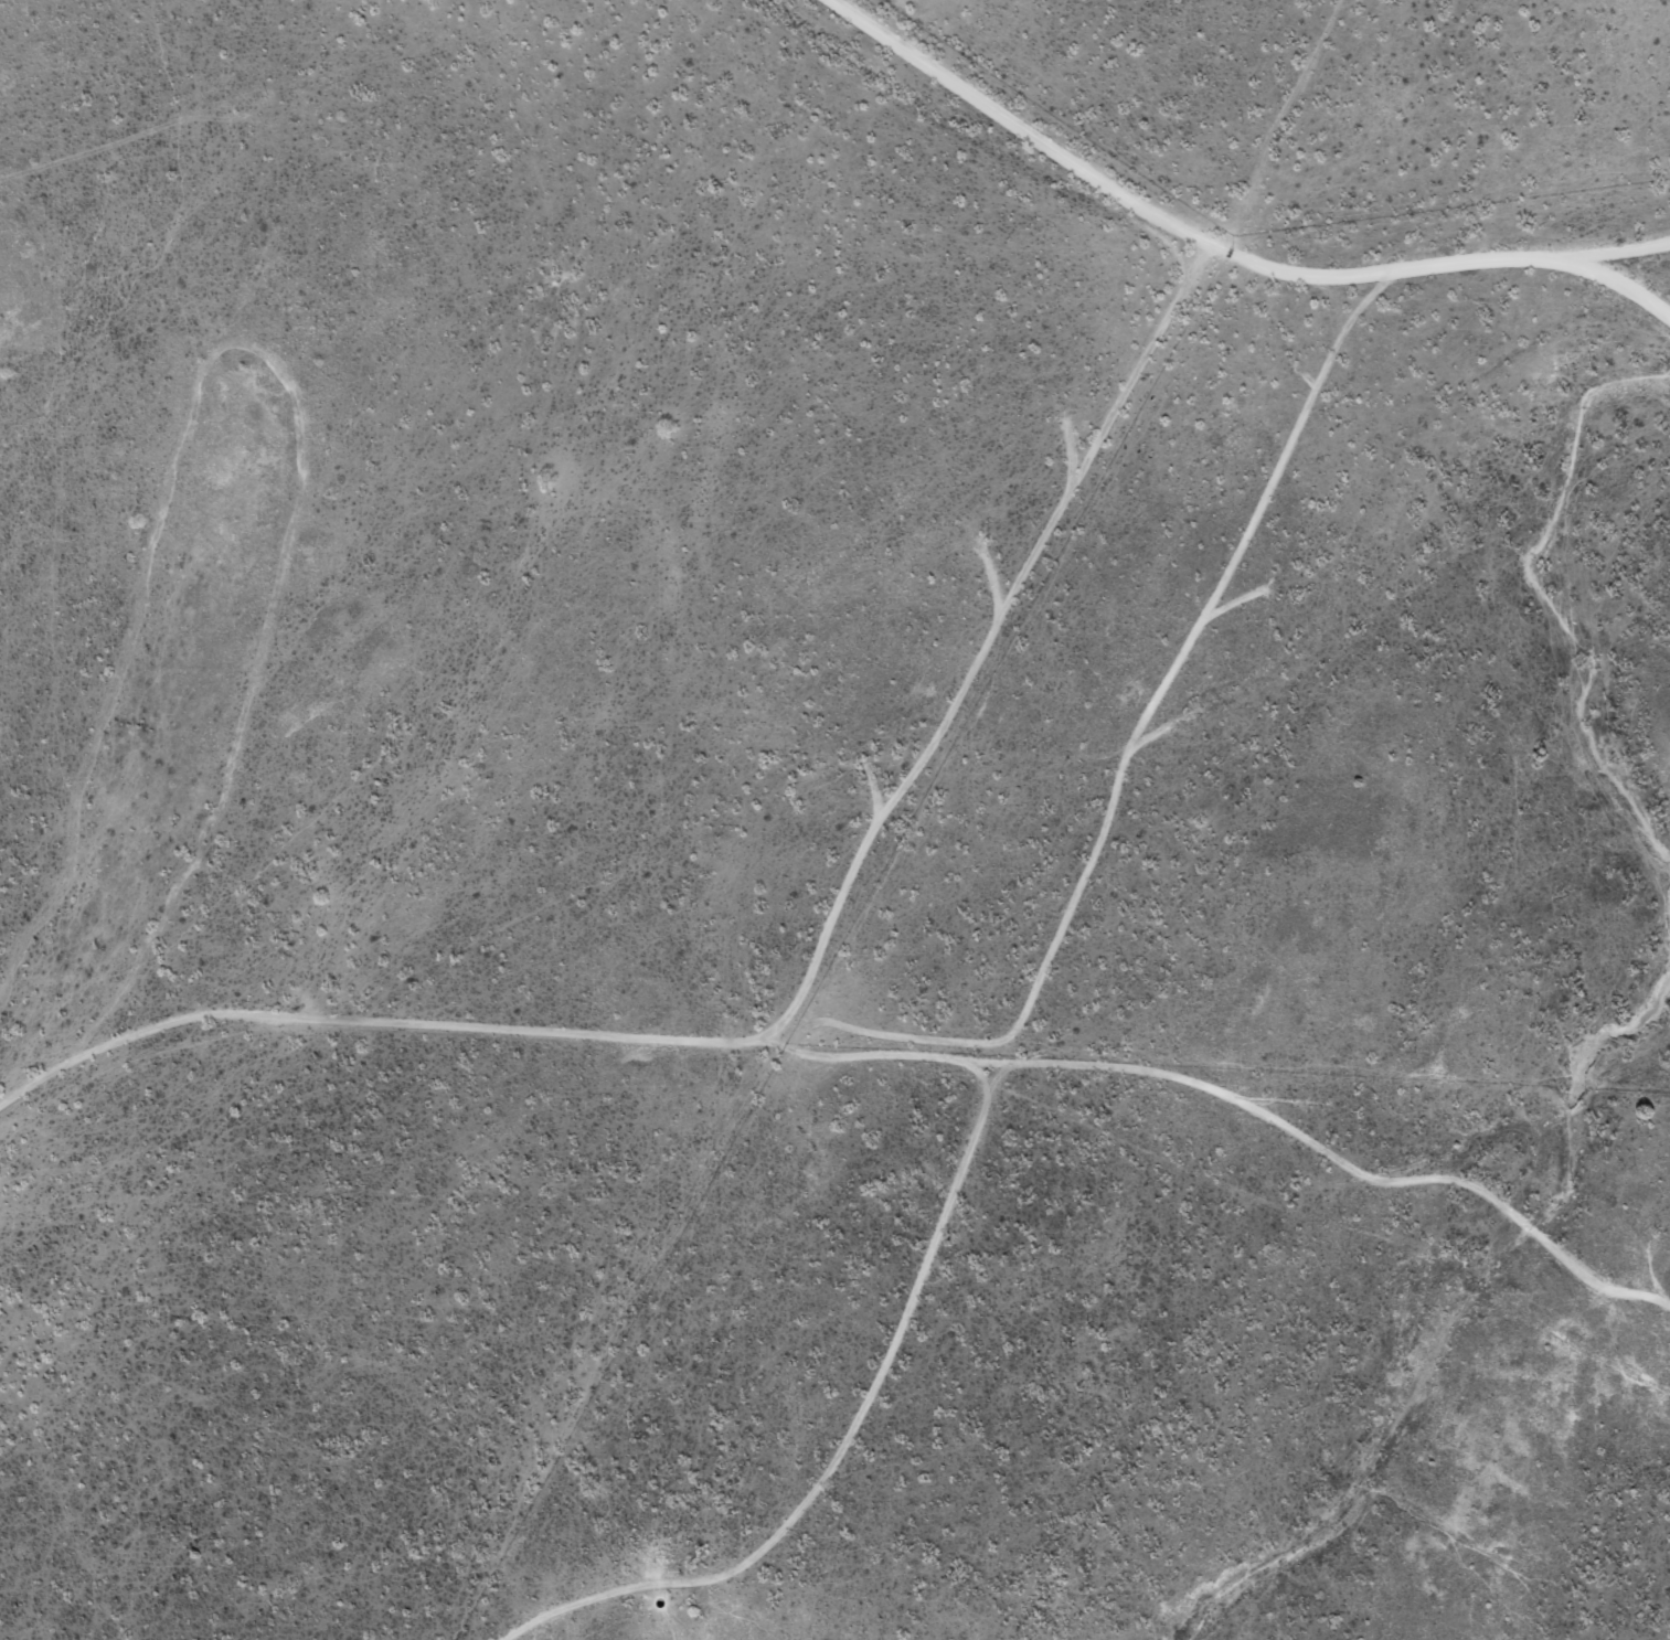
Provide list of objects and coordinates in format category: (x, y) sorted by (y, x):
road: (1164, 260)
road: (1660, 299)

